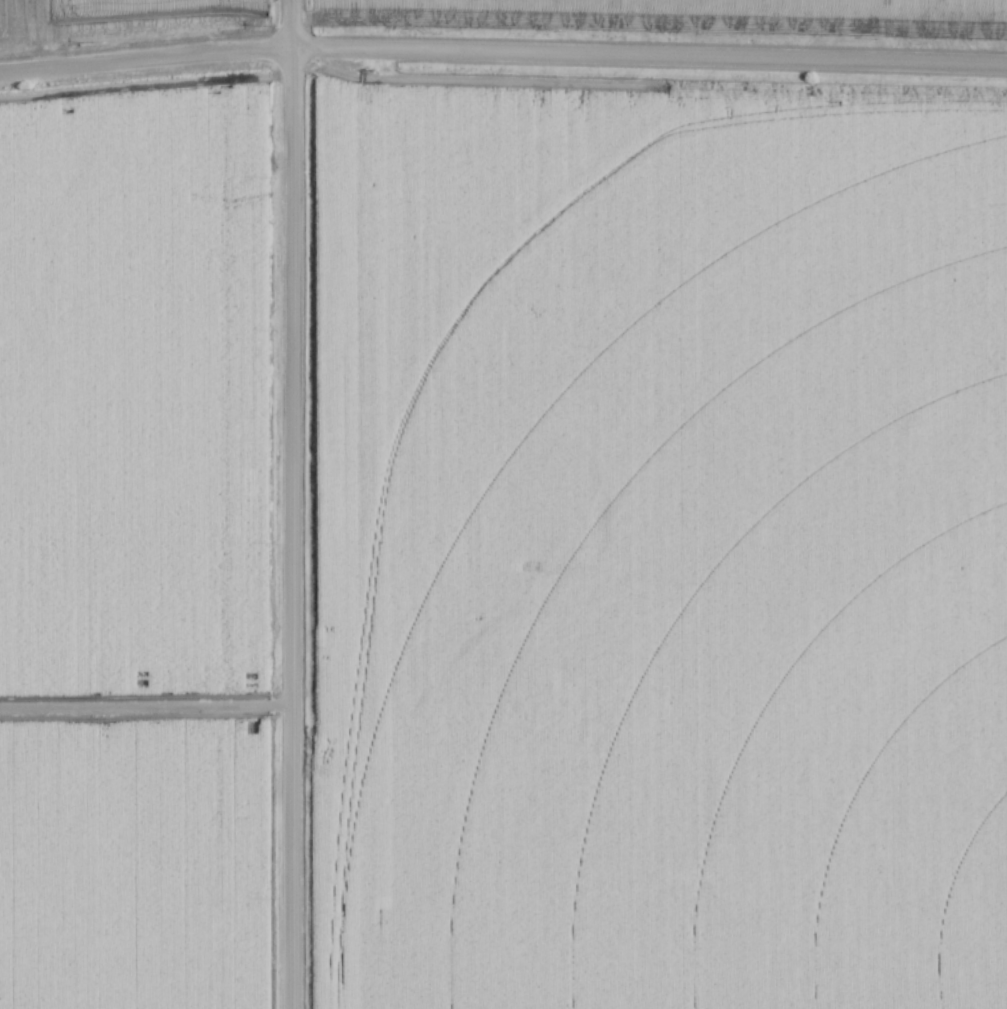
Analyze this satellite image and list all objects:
crop: (694, 12)
crop: (152, 16)
road: (294, 25)
road: (650, 56)
road: (147, 61)
crop: (133, 387)
road: (294, 529)
crop: (666, 539)
building: (533, 638)
silo: (527, 688)
building: (526, 691)
silo: (504, 700)
building: (508, 705)
road: (147, 711)
building: (517, 723)
road: (534, 734)
crop: (136, 867)

